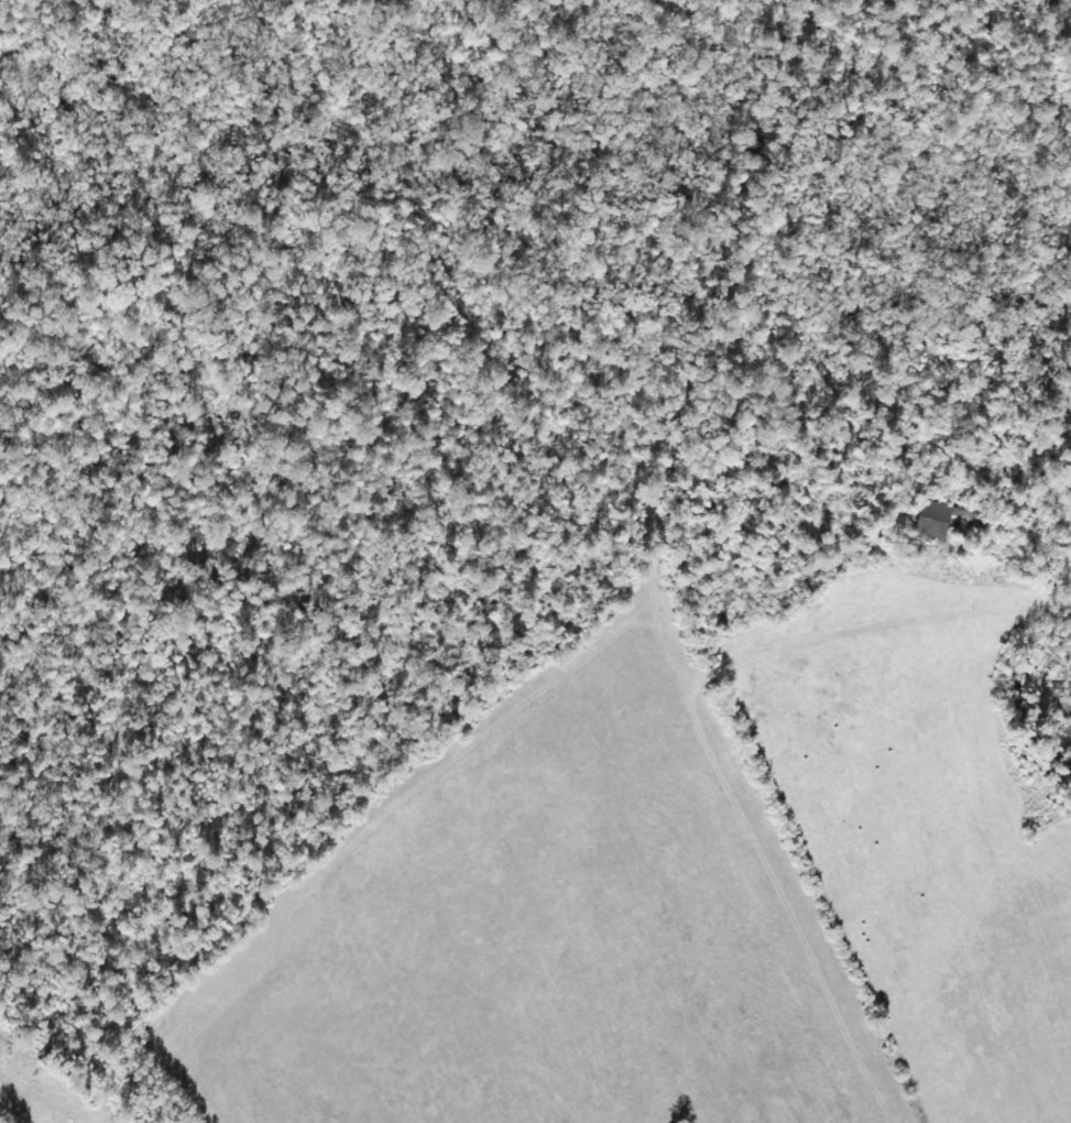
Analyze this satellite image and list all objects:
building: (935, 517)
road: (708, 850)

